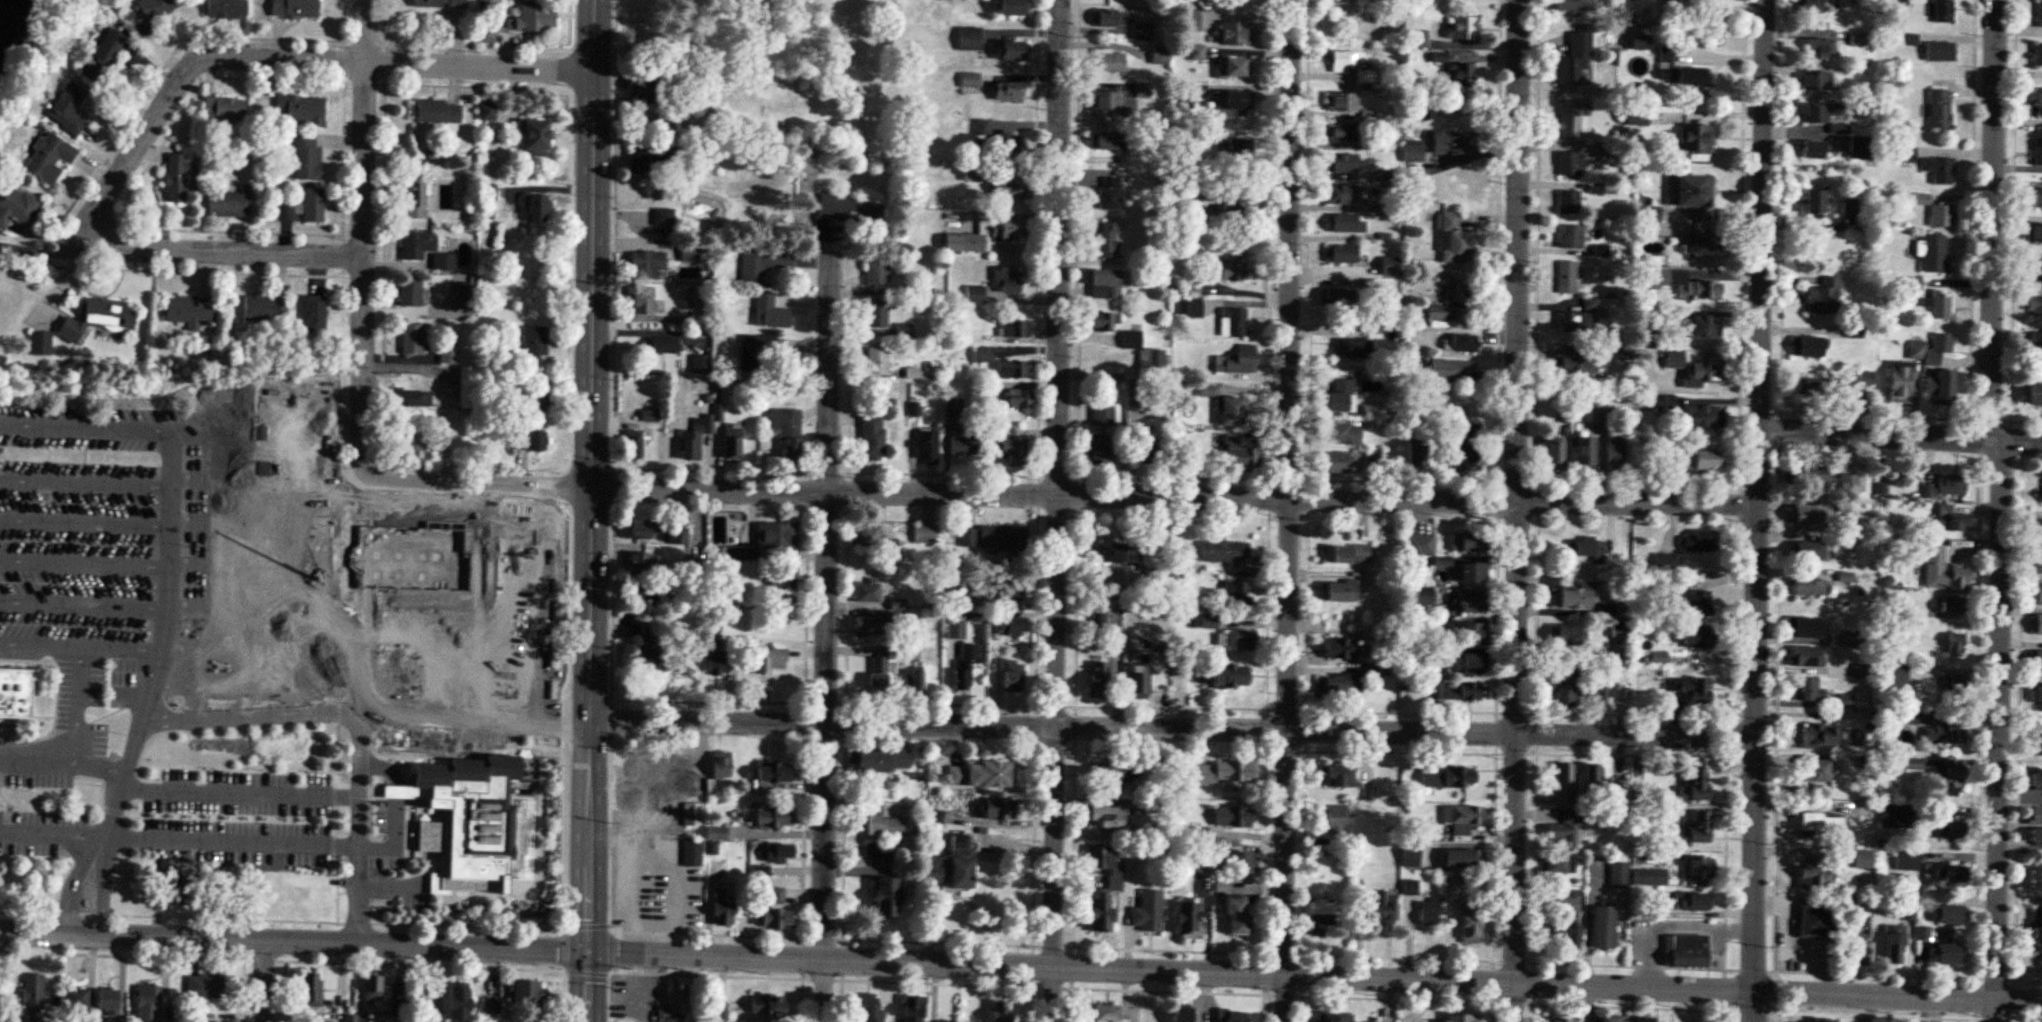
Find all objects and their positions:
building: (1438, 0)
building: (1900, 2)
building: (429, 3)
building: (1575, 5)
building: (1012, 7)
building: (1811, 7)
building: (155, 8)
building: (225, 8)
building: (294, 8)
building: (1944, 11)
building: (2039, 13)
building: (534, 17)
building: (1108, 19)
building: (1189, 20)
building: (1464, 28)
building: (1142, 32)
building: (1236, 33)
building: (969, 39)
building: (1417, 39)
building: (1857, 40)
building: (1819, 50)
building: (1010, 51)
building: (1940, 51)
building: (1197, 53)
building: (2038, 55)
building: (102, 56)
building: (1160, 56)
building: (1346, 60)
building: (1573, 60)
building: (1109, 61)
building: (1233, 68)
building: (1679, 73)
building: (1462, 74)
building: (970, 80)
building: (1816, 81)
road: (177, 86)
building: (1143, 91)
building: (1007, 92)
building: (1342, 102)
building: (2039, 103)
building: (1110, 104)
building: (1232, 104)
building: (66, 109)
building: (299, 109)
building: (1940, 109)
building: (222, 110)
building: (488, 111)
building: (438, 112)
building: (1820, 114)
building: (1569, 121)
building: (983, 126)
building: (1840, 129)
building: (1340, 133)
building: (533, 139)
building: (1696, 139)
building: (1013, 142)
building: (1109, 142)
building: (1454, 144)
building: (1861, 148)
building: (1239, 150)
building: (1412, 151)
building: (1814, 151)
building: (2038, 152)
building: (1907, 155)
building: (48, 159)
building: (305, 159)
building: (642, 160)
building: (1343, 163)
building: (1570, 164)
building: (1010, 166)
building: (1940, 170)
building: (972, 174)
building: (175, 178)
building: (1009, 189)
building: (1692, 191)
building: (1106, 194)
building: (1347, 194)
building: (1208, 196)
building: (2038, 197)
building: (1924, 200)
building: (415, 201)
building: (1234, 201)
building: (1568, 202)
building: (229, 204)
building: (312, 205)
building: (1814, 206)
building: (17, 207)
building: (1852, 207)
building: (536, 210)
building: (848, 211)
building: (285, 212)
building: (1648, 214)
building: (1942, 216)
building: (663, 217)
building: (1344, 224)
building: (1004, 230)
building: (2034, 234)
road: (366, 237)
building: (1570, 237)
building: (1454, 240)
building: (1107, 241)
building: (964, 243)
building: (1704, 243)
building: (417, 244)
building: (1933, 253)
building: (1341, 254)
road: (57, 256)
building: (443, 262)
building: (763, 263)
building: (645, 265)
building: (1390, 266)
building: (2037, 271)
building: (876, 272)
building: (1232, 272)
building: (1566, 278)
building: (1008, 280)
building: (1104, 284)
building: (1682, 284)
building: (409, 291)
building: (975, 294)
building: (465, 296)
building: (1338, 297)
building: (1819, 299)
building: (1449, 300)
building: (640, 302)
building: (1941, 305)
building: (2034, 307)
building: (265, 308)
building: (190, 311)
building: (768, 313)
building: (314, 314)
building: (877, 315)
building: (97, 318)
building: (1233, 322)
building: (1574, 322)
building: (1102, 323)
building: (1702, 327)
building: (1015, 329)
building: (412, 339)
building: (2036, 340)
building: (1464, 343)
building: (40, 344)
building: (534, 345)
building: (662, 346)
building: (1810, 347)
building: (1931, 349)
building: (1354, 350)
building: (752, 351)
building: (448, 354)
building: (1144, 354)
building: (981, 355)
building: (1675, 359)
building: (876, 360)
building: (1237, 361)
building: (699, 364)
building: (1574, 364)
building: (1011, 369)
building: (1453, 369)
building: (1701, 372)
building: (1865, 379)
building: (1900, 383)
building: (1815, 386)
building: (1942, 387)
building: (466, 389)
building: (2035, 389)
building: (1206, 391)
building: (410, 397)
building: (1341, 397)
building: (1019, 398)
building: (532, 399)
building: (1136, 399)
building: (953, 407)
building: (1230, 412)
building: (1594, 413)
building: (650, 416)
building: (1103, 416)
building: (1702, 417)
road: (85, 429)
road: (1902, 431)
building: (697, 434)
building: (785, 434)
building: (1341, 435)
building: (443, 436)
building: (872, 436)
building: (531, 441)
building: (730, 441)
building: (404, 443)
building: (632, 445)
building: (962, 445)
building: (1011, 447)
building: (1143, 447)
building: (926, 448)
road: (234, 449)
building: (1098, 450)
building: (1463, 452)
building: (1614, 452)
building: (1554, 454)
building: (1585, 454)
building: (1237, 455)
building: (1418, 457)
building: (1372, 459)
building: (1699, 460)
building: (1341, 463)
building: (1813, 475)
road: (87, 481)
building: (1849, 484)
building: (1946, 487)
road: (1060, 499)
road: (591, 510)
road: (1756, 510)
road: (1995, 510)
road: (1039, 511)
road: (1288, 511)
road: (1516, 511)
building: (1804, 516)
building: (1953, 520)
road: (221, 524)
building: (2038, 530)
building: (638, 532)
building: (1001, 534)
building: (925, 535)
building: (866, 536)
building: (775, 537)
building: (678, 538)
building: (968, 538)
building: (1466, 543)
building: (1698, 543)
building: (1417, 546)
building: (1587, 550)
building: (1809, 552)
building: (1119, 553)
building: (1223, 553)
building: (1346, 555)
road: (178, 563)
building: (1667, 563)
building: (637, 564)
building: (2036, 565)
building: (1943, 572)
building: (1473, 573)
building: (485, 575)
building: (1153, 576)
building: (783, 579)
building: (1809, 587)
building: (1009, 591)
building: (865, 592)
building: (1341, 592)
building: (644, 595)
building: (2036, 595)
building: (1235, 596)
building: (1422, 597)
building: (1576, 597)
building: (1471, 603)
building: (1695, 603)
building: (1952, 606)
road: (179, 609)
building: (1106, 613)
building: (522, 619)
building: (1007, 624)
building: (1444, 624)
building: (2036, 625)
building: (865, 626)
building: (1806, 628)
building: (956, 630)
building: (648, 632)
building: (1473, 634)
road: (165, 635)
road: (828, 635)
building: (1570, 636)
building: (1698, 636)
building: (1853, 638)
building: (1237, 641)
building: (1956, 644)
road: (82, 646)
building: (1339, 649)
building: (645, 656)
building: (1806, 657)
building: (768, 661)
building: (2038, 661)
building: (1468, 664)
building: (964, 667)
building: (879, 670)
building: (1012, 676)
building: (1898, 676)
building: (1229, 677)
building: (914, 680)
building: (1098, 680)
building: (1136, 680)
building: (1954, 686)
building: (1341, 687)
building: (1691, 688)
building: (1562, 690)
building: (1807, 690)
building: (15, 691)
building: (1455, 692)
building: (1599, 692)
building: (2038, 699)
building: (1846, 701)
road: (477, 703)
road: (252, 717)
road: (477, 724)
road: (1173, 725)
road: (78, 726)
road: (361, 729)
building: (1945, 733)
building: (1818, 735)
building: (2036, 745)
road: (40, 753)
building: (879, 759)
building: (720, 764)
road: (384, 767)
building: (650, 768)
building: (773, 770)
building: (1112, 771)
building: (1816, 771)
building: (985, 773)
building: (1227, 773)
building: (1339, 777)
building: (1948, 777)
building: (1447, 778)
building: (2036, 779)
building: (1594, 780)
building: (1562, 785)
building: (1693, 786)
road: (240, 792)
road: (397, 792)
building: (996, 809)
building: (642, 812)
building: (773, 816)
building: (1231, 816)
building: (1104, 817)
building: (1335, 817)
building: (2035, 817)
building: (1461, 819)
building: (472, 822)
building: (1823, 823)
building: (880, 826)
building: (1693, 830)
building: (1945, 830)
building: (1563, 831)
road: (54, 834)
road: (395, 839)
building: (2035, 839)
road: (233, 840)
building: (711, 847)
building: (876, 850)
building: (692, 852)
building: (776, 852)
building: (1409, 855)
building: (1463, 858)
building: (1863, 859)
building: (1907, 861)
building: (1238, 862)
building: (1555, 863)
building: (653, 864)
building: (952, 865)
building: (1697, 867)
building: (1944, 873)
building: (1617, 874)
building: (1814, 876)
building: (1653, 877)
road: (77, 879)
building: (171, 879)
road: (103, 883)
building: (620, 888)
building: (1104, 889)
road: (359, 893)
building: (301, 894)
building: (776, 896)
building: (885, 897)
building: (1691, 901)
building: (691, 905)
building: (643, 906)
building: (1383, 906)
building: (721, 908)
building: (1428, 912)
building: (1236, 914)
building: (1951, 914)
building: (1186, 917)
building: (1319, 917)
building: (775, 918)
building: (1141, 918)
building: (1815, 920)
building: (1470, 921)
building: (1568, 922)
building: (1602, 926)
building: (2037, 927)
road: (1671, 928)
building: (1895, 944)
building: (1686, 950)
building: (1860, 950)
building: (1946, 953)
road: (876, 958)
road: (265, 980)
building: (204, 985)
building: (372, 987)
building: (312, 990)
building: (527, 994)
road: (1897, 995)
building: (32, 997)
building: (74, 999)
building: (106, 1001)
building: (458, 1001)
building: (147, 1003)
building: (766, 1004)
building: (673, 1005)
building: (716, 1007)
building: (867, 1008)
building: (912, 1008)
building: (1000, 1011)
building: (1108, 1013)
building: (1180, 1013)
building: (213, 1014)
building: (1231, 1015)
building: (1334, 1016)
building: (1460, 1017)
building: (350, 1018)
building: (1609, 1018)
building: (1644, 1019)
building: (1559, 1020)
building: (1817, 1020)
building: (323, 1021)

